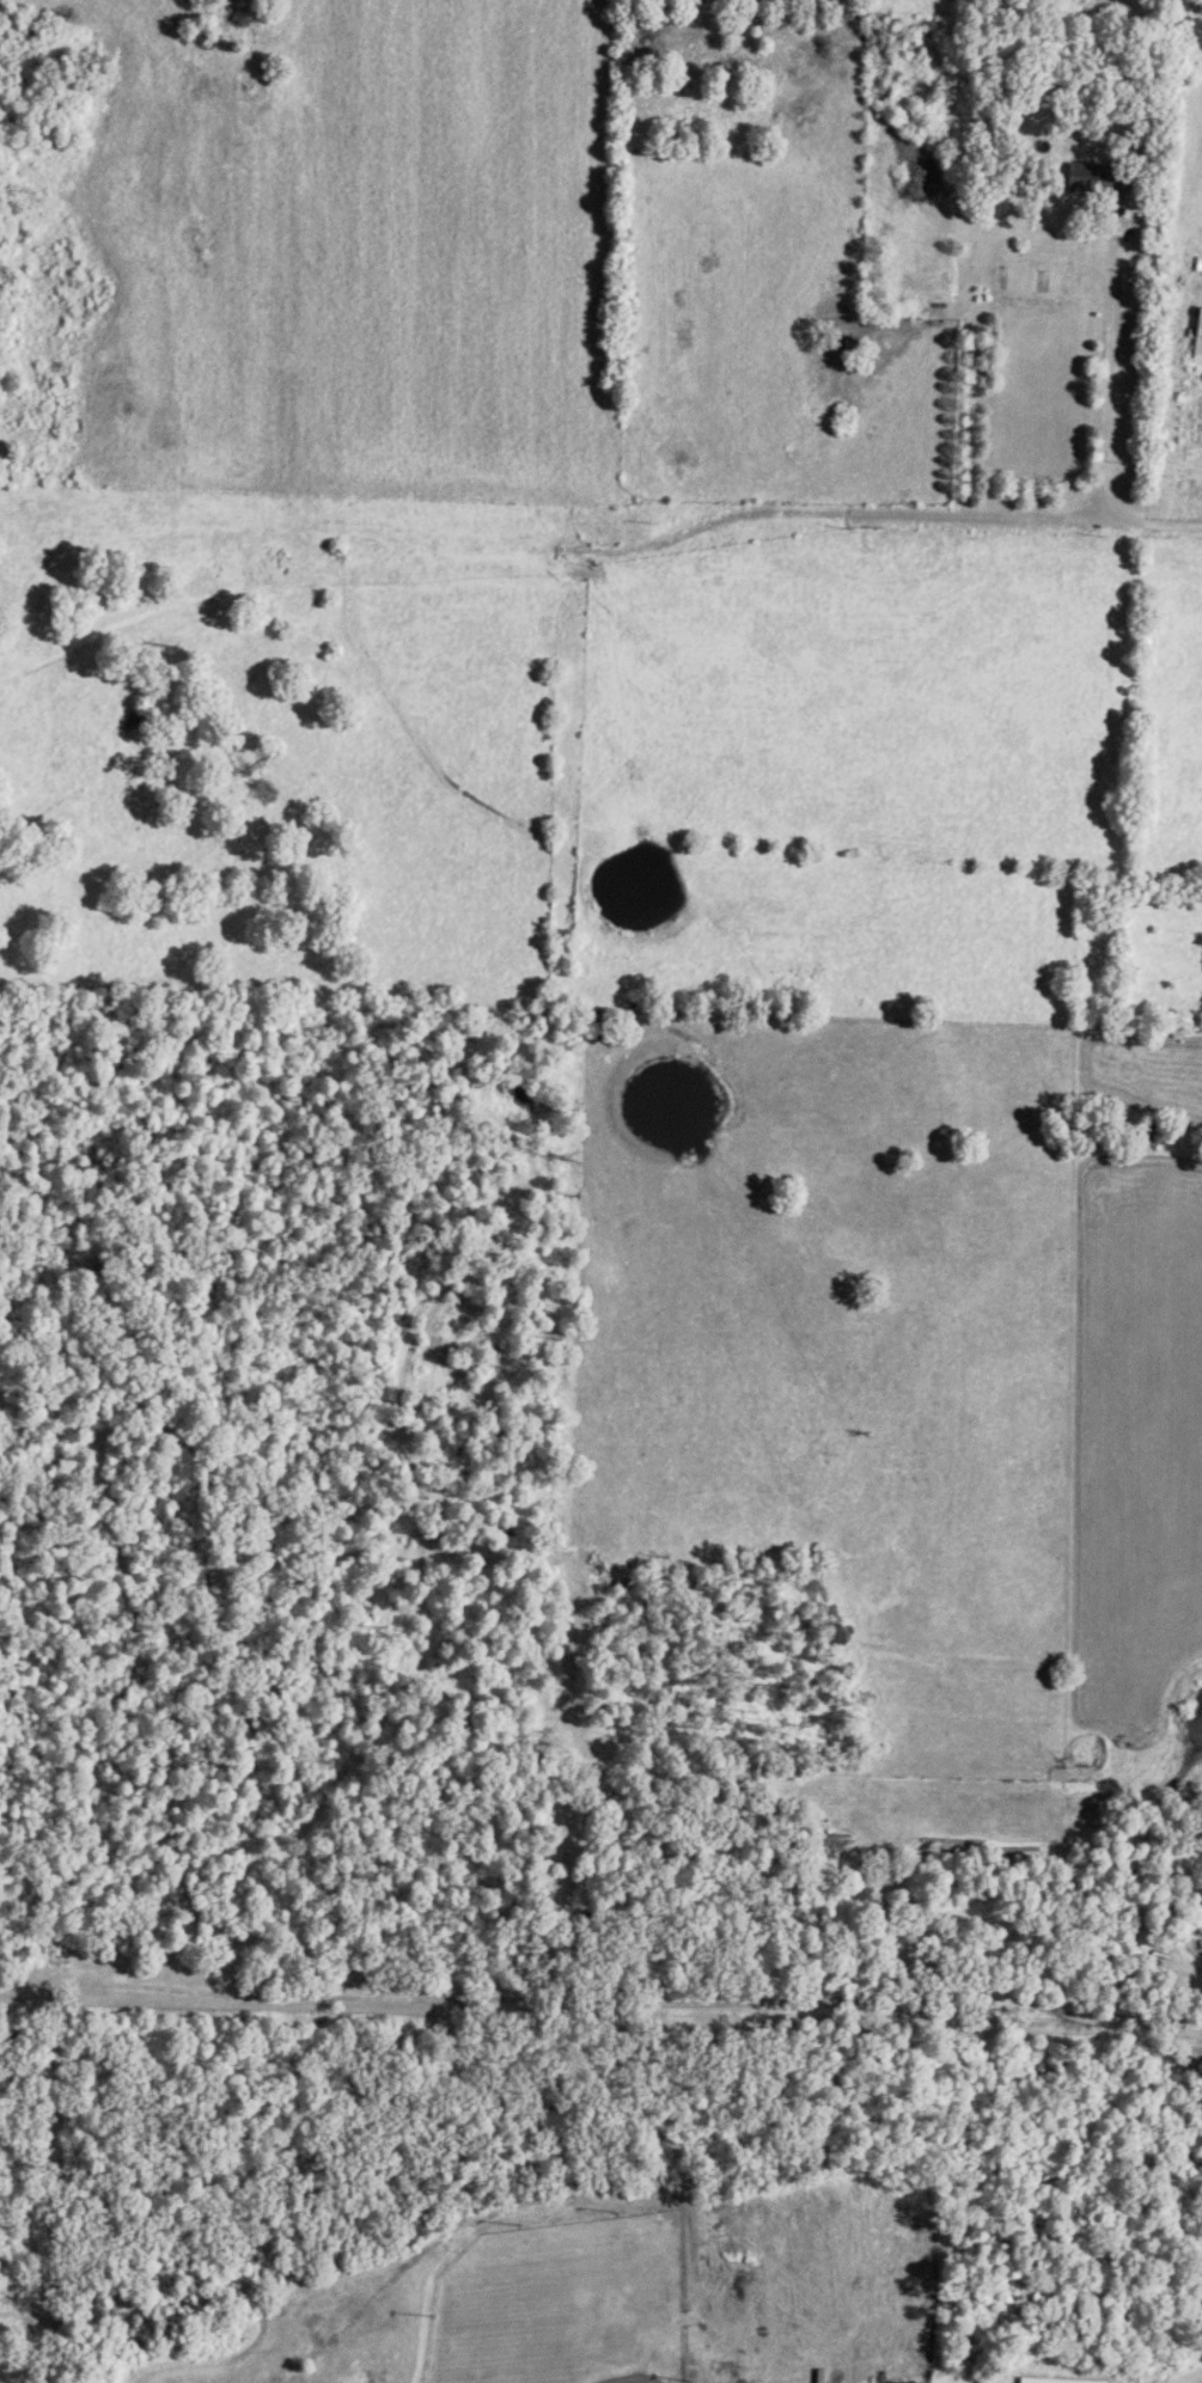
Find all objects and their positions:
building: (1094, 183)
road: (1106, 372)
road: (787, 514)

